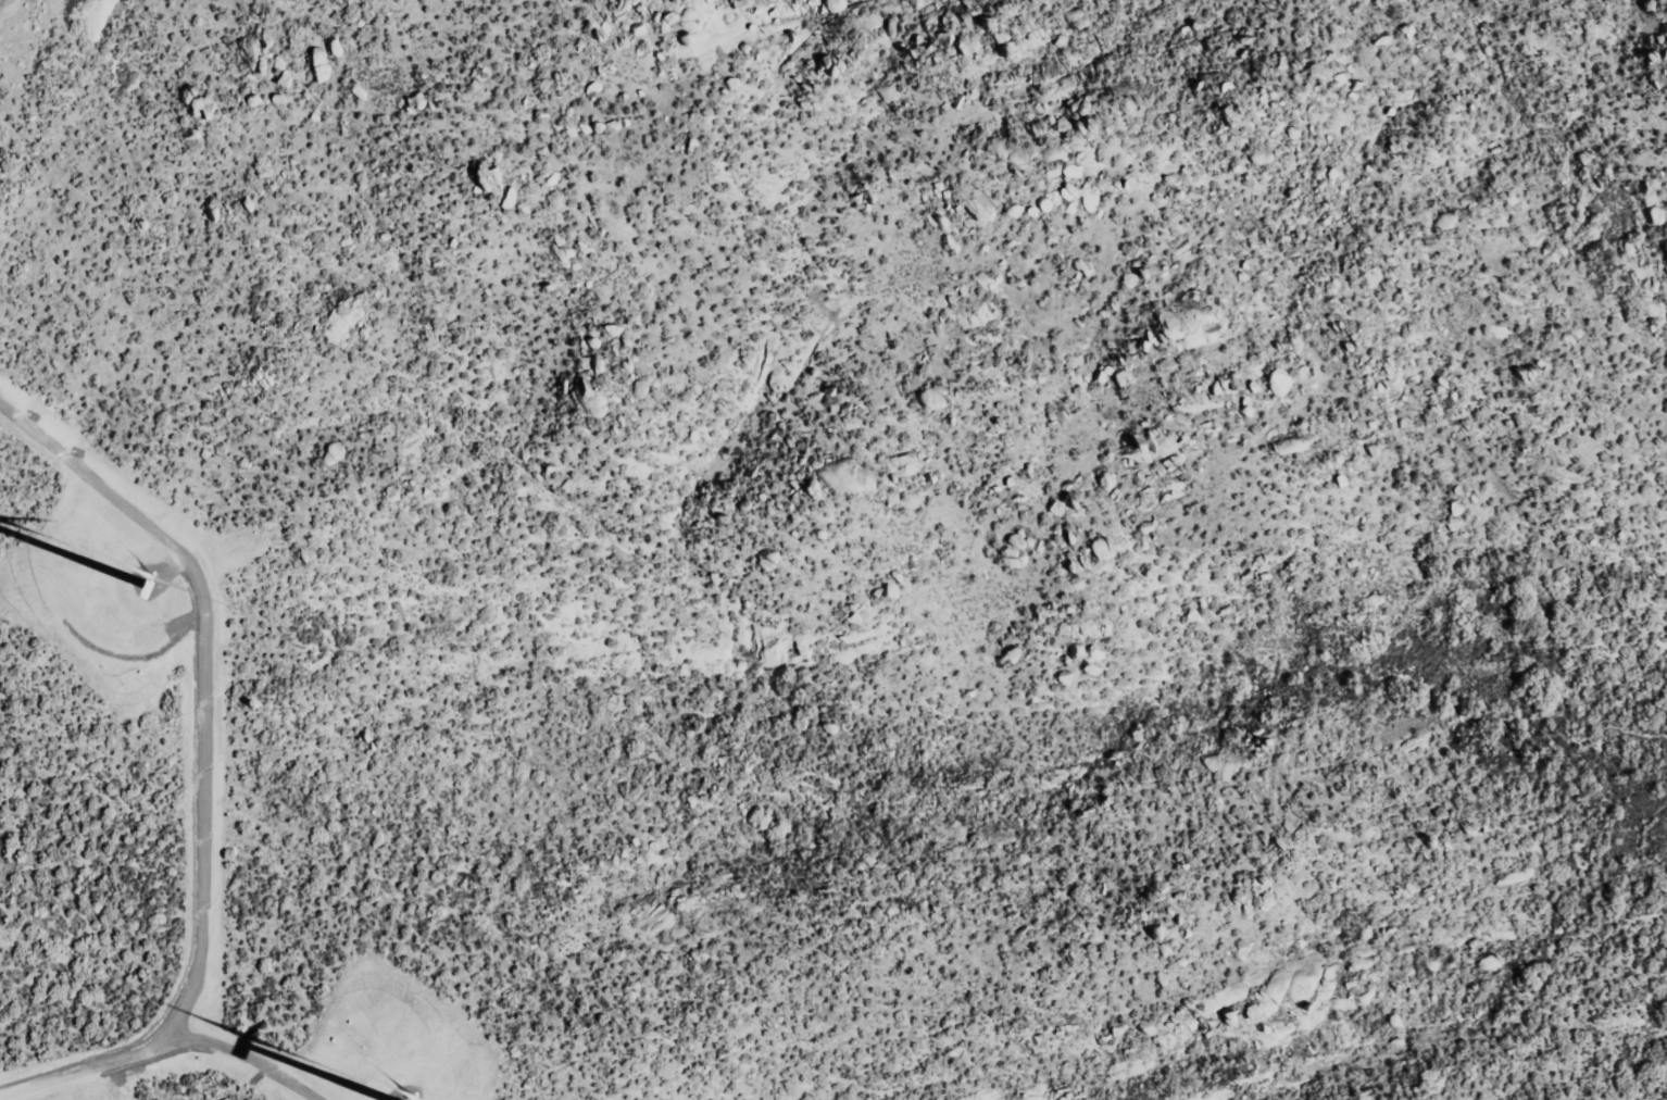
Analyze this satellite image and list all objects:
building: (712, 1)
building: (843, 3)
building: (682, 17)
building: (894, 27)
building: (641, 29)
building: (1020, 30)
building: (267, 39)
building: (978, 49)
building: (324, 64)
building: (287, 78)
building: (563, 79)
building: (736, 83)
building: (892, 90)
building: (197, 99)
building: (255, 101)
building: (492, 177)
building: (1080, 191)
building: (512, 198)
building: (1048, 204)
building: (1017, 210)
building: (600, 363)
building: (1106, 374)
building: (1126, 377)
building: (1232, 383)
building: (1283, 383)
building: (644, 389)
building: (1292, 446)
building: (1144, 450)
building: (336, 454)
building: (911, 463)
building: (851, 477)
building: (1078, 498)
building: (1061, 508)
building: (1104, 549)
building: (1019, 550)
building: (772, 561)
wind turbine: (147, 584)
building: (856, 620)
building: (1067, 677)
road: (205, 772)
road: (249, 1057)

